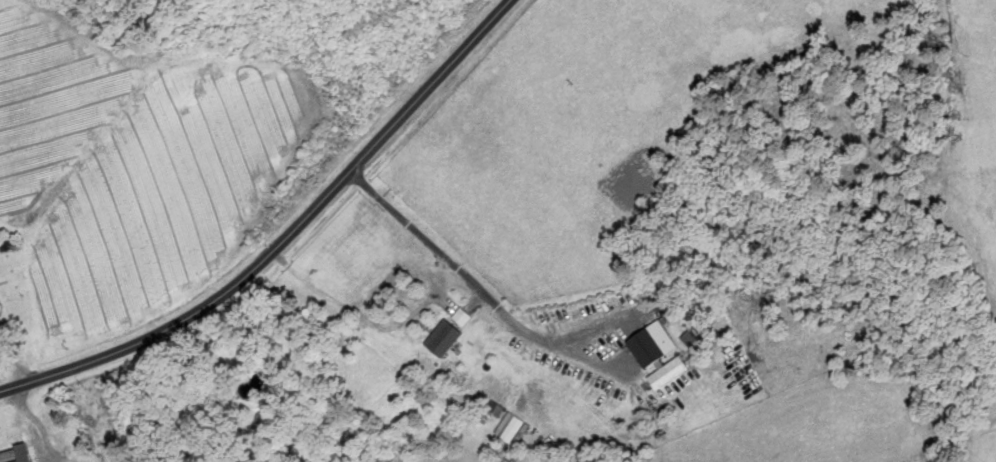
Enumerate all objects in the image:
road: (284, 238)
road: (474, 285)
building: (2, 306)
building: (466, 317)
building: (445, 337)
building: (648, 348)
building: (669, 372)
building: (46, 406)
building: (16, 454)

